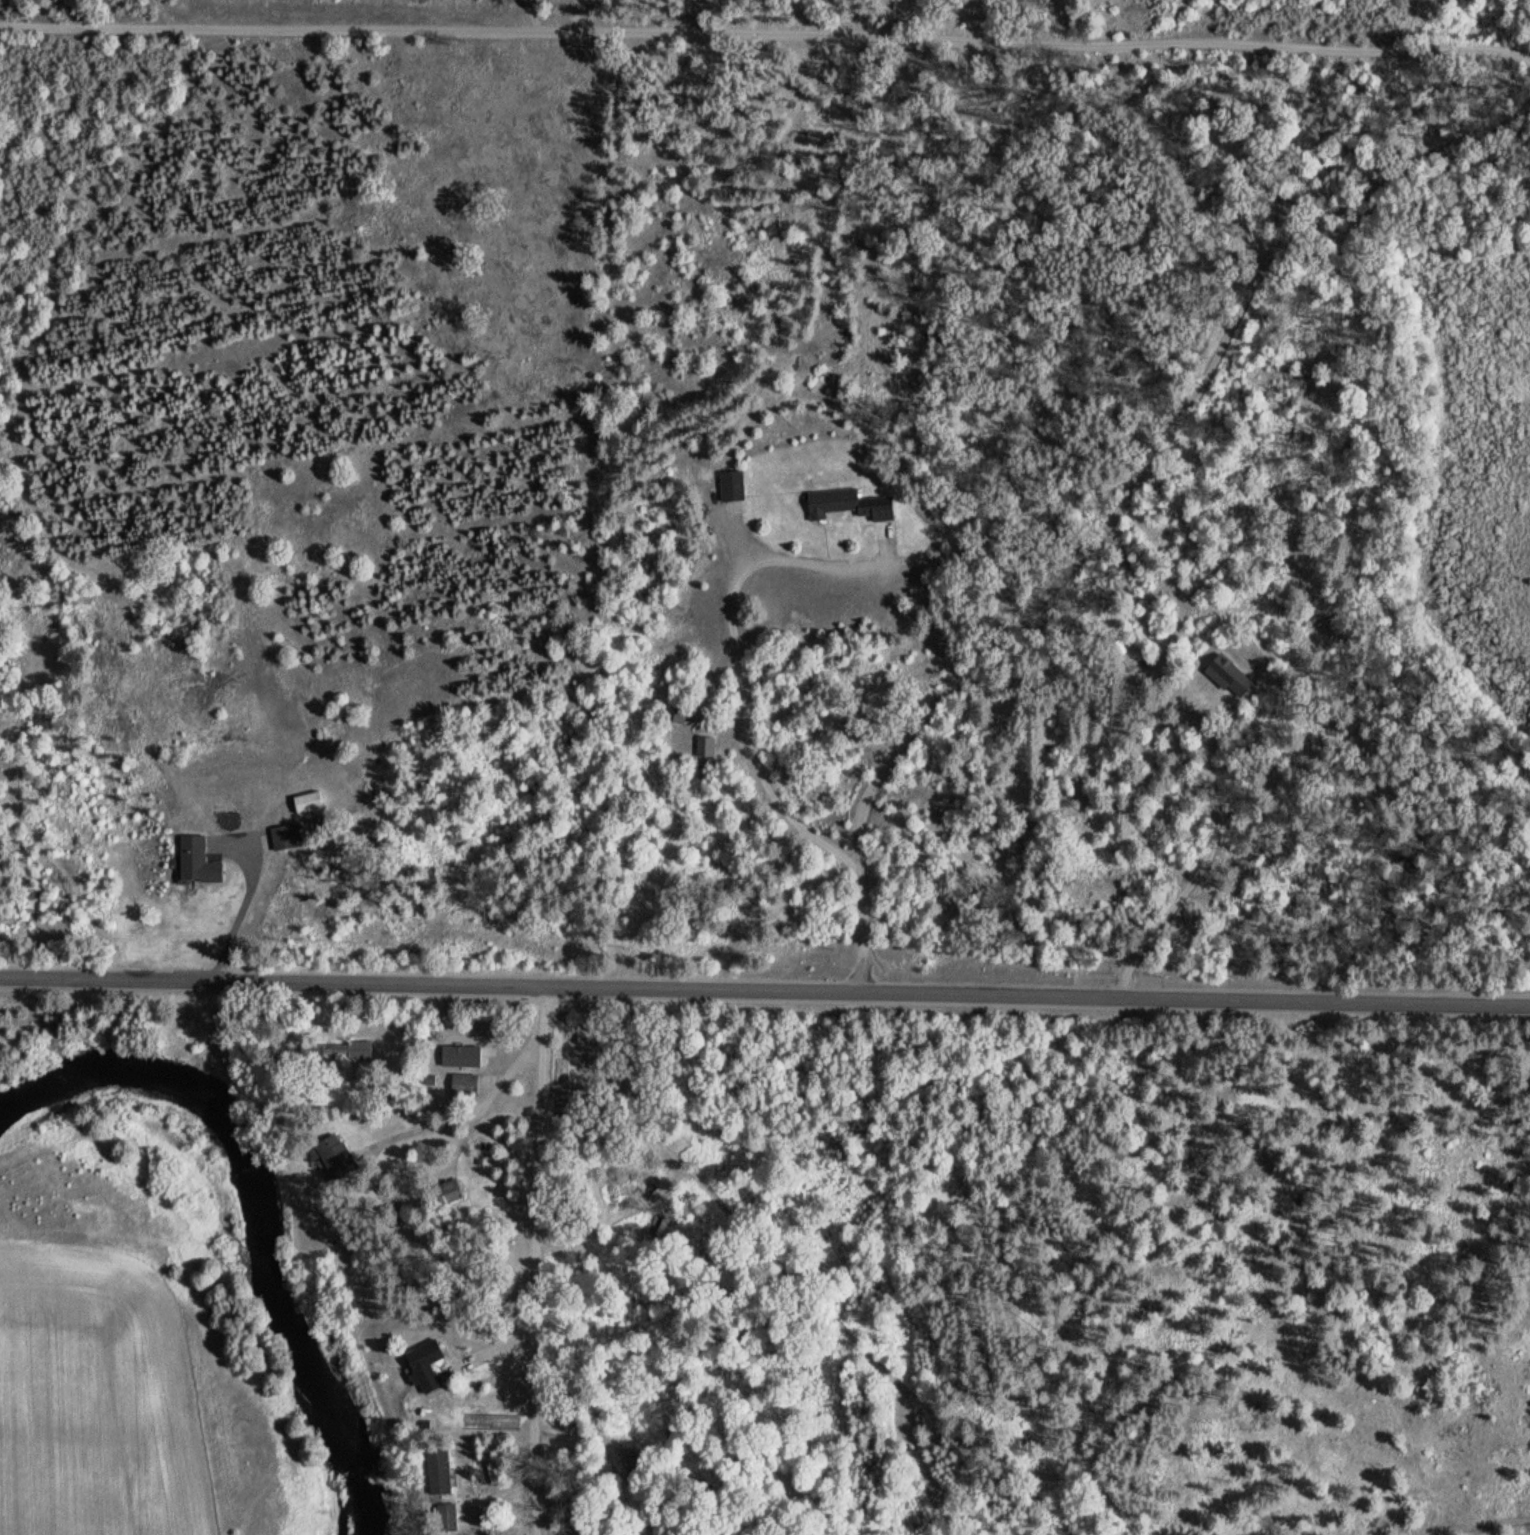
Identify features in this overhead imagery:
road: (765, 34)
building: (731, 485)
building: (848, 503)
road: (1131, 503)
road: (733, 506)
road: (883, 530)
road: (740, 538)
road: (888, 554)
road: (732, 627)
building: (1227, 683)
road: (1194, 714)
building: (679, 715)
road: (1205, 715)
road: (730, 730)
building: (705, 746)
building: (307, 802)
building: (286, 838)
building: (197, 860)
road: (1202, 869)
road: (765, 989)
building: (332, 1052)
building: (461, 1062)
building: (464, 1085)
road: (465, 1114)
building: (335, 1156)
building: (447, 1192)
river: (258, 1211)
road: (536, 1261)
road: (492, 1350)
building: (424, 1366)
building: (439, 1470)
road: (507, 1496)
building: (444, 1518)

